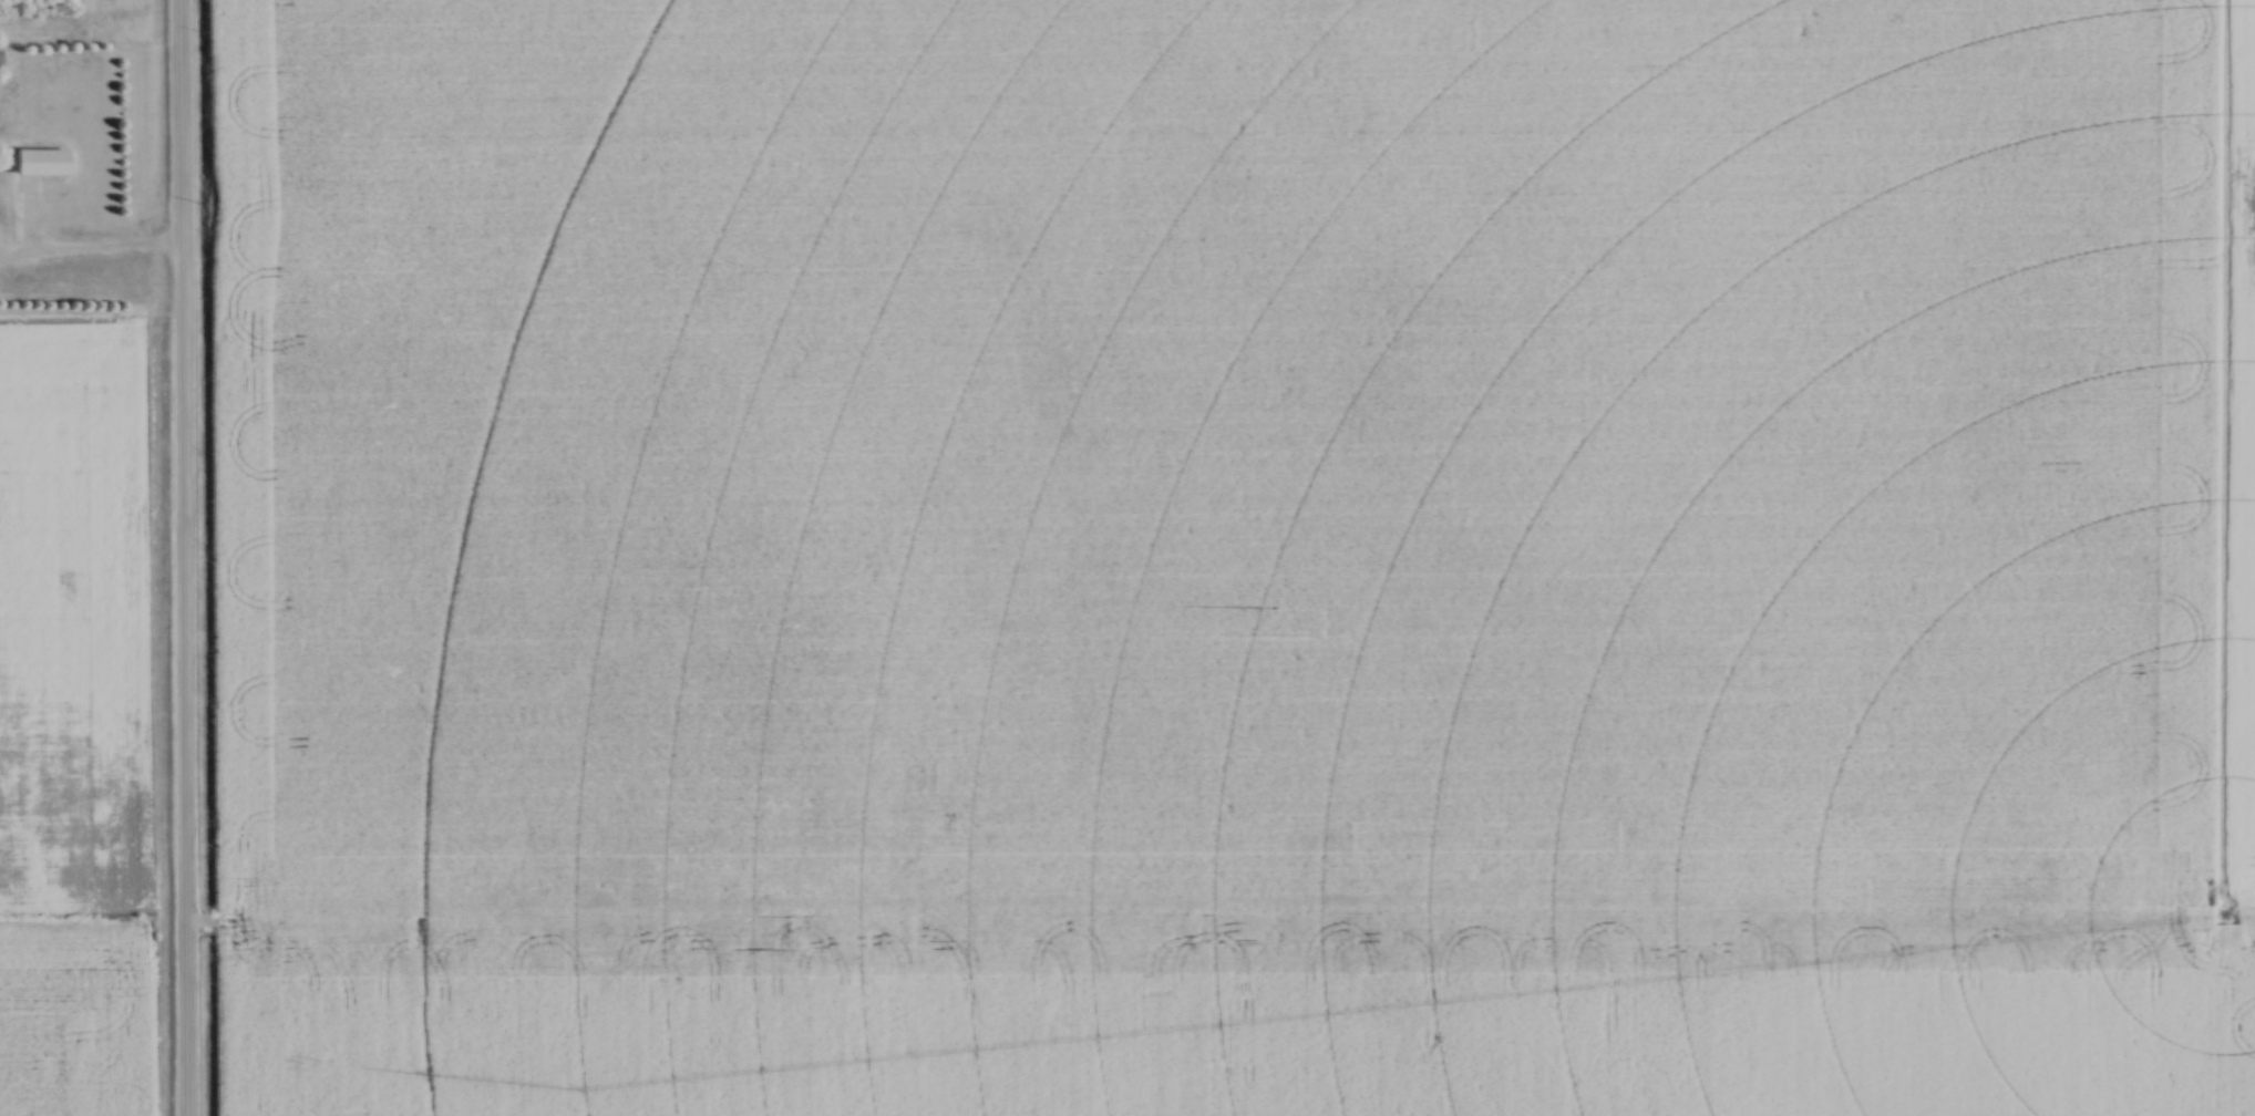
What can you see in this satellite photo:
building: (0, 65)
building: (40, 159)
road: (81, 252)
road: (183, 558)

